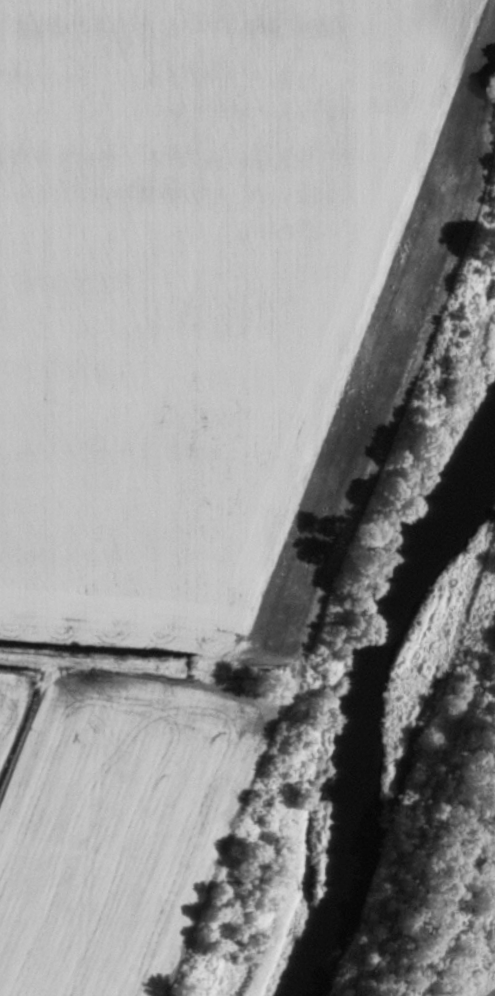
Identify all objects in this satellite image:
river: (360, 692)

